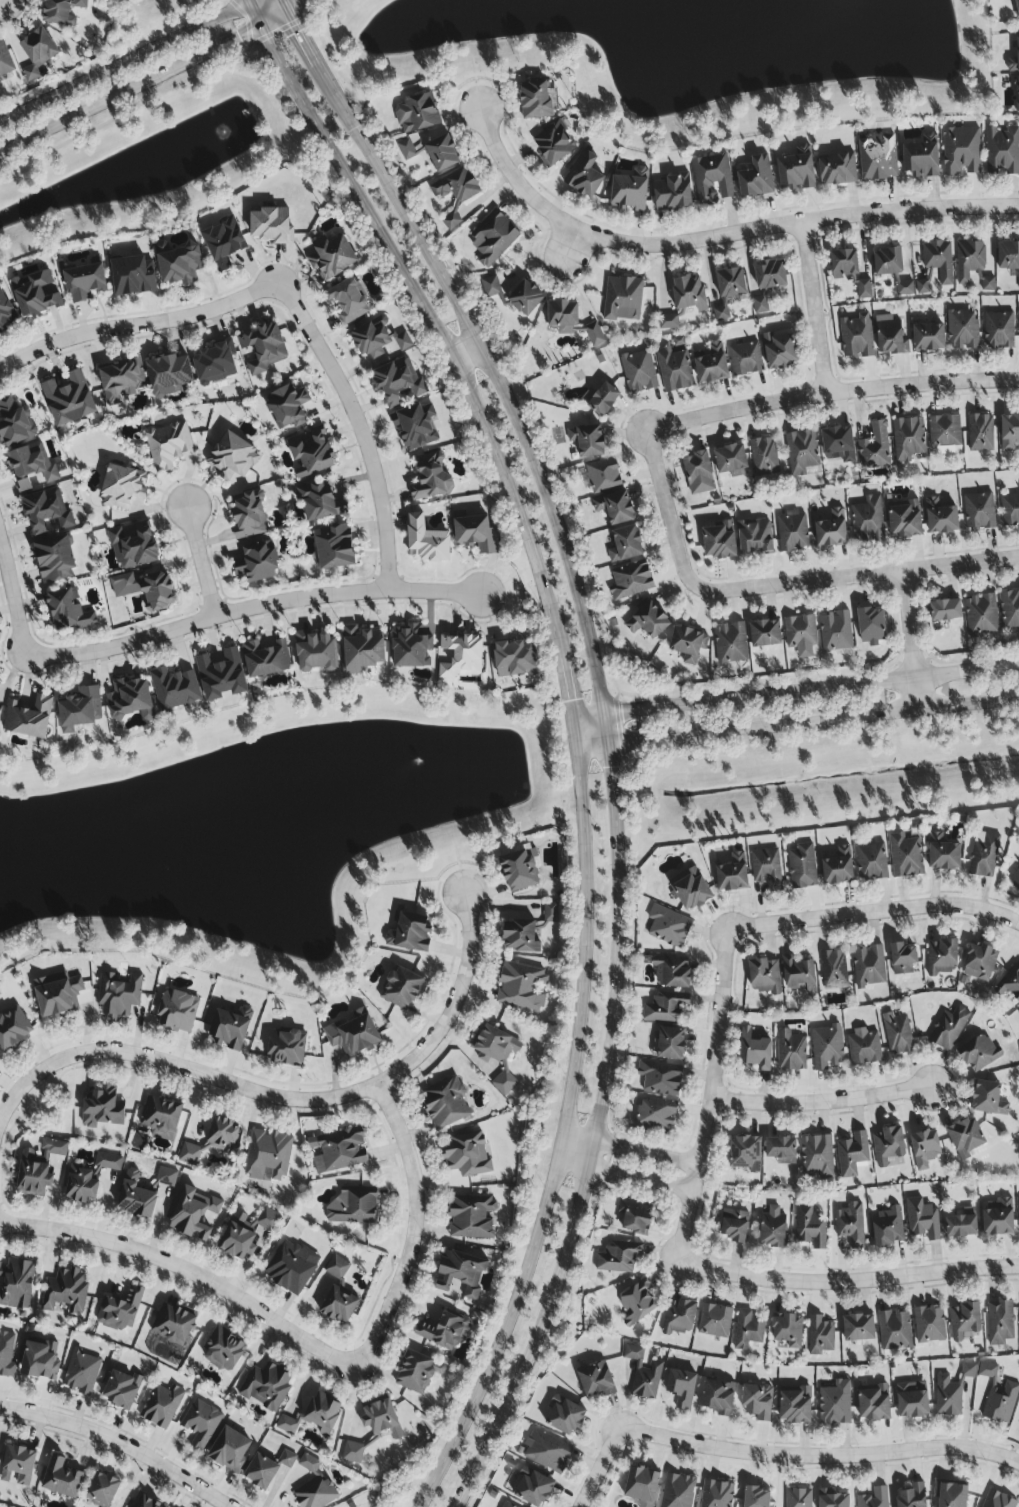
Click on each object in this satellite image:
road: (285, 0)
fountain: (720, 2)
building: (1012, 8)
building: (60, 10)
building: (37, 53)
road: (140, 58)
building: (1014, 60)
building: (5, 61)
road: (146, 81)
building: (0, 83)
building: (1017, 95)
building: (535, 100)
building: (417, 113)
fountain: (217, 135)
building: (554, 142)
building: (406, 150)
building: (961, 151)
building: (1002, 152)
building: (442, 154)
building: (877, 158)
building: (920, 160)
building: (837, 170)
building: (796, 172)
building: (585, 175)
building: (756, 178)
building: (712, 179)
building: (630, 191)
building: (673, 193)
building: (271, 225)
road: (718, 232)
building: (493, 238)
building: (227, 246)
road: (571, 246)
building: (1008, 256)
building: (331, 257)
building: (938, 260)
building: (969, 260)
building: (887, 261)
building: (843, 264)
building: (180, 266)
building: (771, 275)
building: (133, 276)
building: (86, 284)
building: (988, 285)
building: (922, 288)
building: (863, 289)
building: (904, 289)
building: (728, 290)
building: (689, 293)
building: (37, 295)
building: (514, 295)
building: (623, 299)
building: (347, 301)
building: (759, 305)
road: (817, 306)
building: (5, 313)
building: (562, 316)
building: (668, 323)
road: (138, 324)
building: (962, 331)
building: (998, 331)
building: (593, 335)
building: (1018, 335)
building: (856, 337)
building: (889, 337)
building: (371, 338)
building: (928, 338)
road: (476, 340)
building: (402, 341)
building: (262, 349)
building: (779, 349)
road: (465, 353)
building: (745, 359)
building: (215, 364)
building: (710, 364)
building: (674, 370)
building: (639, 372)
building: (169, 374)
building: (397, 382)
building: (125, 383)
road: (832, 395)
building: (69, 398)
building: (600, 399)
building: (290, 404)
building: (415, 426)
road: (360, 428)
building: (16, 429)
building: (944, 431)
building: (1009, 432)
building: (980, 433)
building: (907, 439)
building: (587, 441)
building: (838, 444)
building: (167, 445)
building: (875, 448)
building: (801, 452)
building: (309, 454)
building: (763, 456)
building: (233, 459)
building: (731, 460)
building: (32, 465)
building: (699, 473)
building: (603, 476)
building: (431, 478)
building: (124, 489)
building: (317, 502)
building: (614, 508)
road: (675, 510)
building: (1009, 510)
building: (47, 511)
building: (979, 512)
building: (248, 514)
building: (940, 518)
building: (867, 520)
building: (905, 521)
building: (831, 529)
building: (793, 532)
building: (475, 535)
building: (755, 537)
building: (425, 541)
building: (719, 542)
building: (133, 545)
building: (625, 545)
building: (334, 548)
building: (57, 558)
road: (204, 563)
building: (261, 563)
road: (860, 576)
road: (446, 580)
building: (631, 580)
road: (286, 588)
road: (15, 592)
building: (158, 592)
building: (68, 607)
road: (252, 609)
building: (945, 610)
building: (1009, 611)
building: (981, 615)
building: (648, 621)
building: (871, 626)
building: (835, 631)
building: (800, 632)
building: (765, 633)
road: (906, 638)
building: (730, 643)
building: (688, 644)
building: (410, 647)
building: (362, 649)
building: (314, 652)
building: (460, 656)
building: (265, 659)
building: (513, 660)
road: (809, 687)
building: (175, 689)
building: (131, 700)
building: (80, 710)
road: (585, 712)
building: (29, 718)
road: (796, 718)
road: (572, 732)
fountain: (439, 763)
building: (943, 853)
building: (983, 855)
building: (905, 857)
building: (871, 863)
building: (836, 866)
building: (802, 867)
building: (767, 868)
building: (520, 871)
building: (732, 874)
building: (1015, 882)
building: (690, 889)
road: (876, 912)
building: (550, 913)
building: (668, 927)
building: (409, 933)
building: (519, 937)
building: (942, 957)
building: (903, 959)
building: (980, 963)
building: (869, 967)
building: (833, 970)
building: (672, 973)
building: (798, 975)
building: (765, 977)
building: (1011, 983)
building: (402, 988)
building: (522, 988)
building: (119, 994)
building: (57, 996)
building: (666, 1008)
building: (177, 1011)
building: (1018, 1012)
building: (13, 1028)
building: (948, 1028)
building: (230, 1029)
building: (353, 1034)
building: (897, 1034)
building: (669, 1044)
building: (826, 1047)
building: (286, 1048)
building: (864, 1048)
building: (755, 1051)
building: (791, 1051)
building: (496, 1053)
building: (979, 1054)
building: (660, 1078)
road: (288, 1096)
road: (717, 1097)
building: (988, 1099)
building: (445, 1103)
road: (826, 1108)
building: (103, 1109)
building: (655, 1114)
building: (161, 1117)
road: (602, 1121)
building: (222, 1135)
building: (966, 1138)
building: (888, 1146)
road: (633, 1147)
building: (924, 1148)
building: (781, 1150)
building: (341, 1151)
building: (745, 1154)
building: (190, 1155)
building: (467, 1155)
building: (853, 1155)
building: (268, 1156)
building: (817, 1156)
building: (38, 1168)
road: (626, 1176)
building: (89, 1178)
building: (142, 1192)
building: (1018, 1205)
building: (353, 1206)
building: (193, 1214)
building: (471, 1217)
building: (634, 1218)
building: (998, 1218)
building: (922, 1219)
building: (961, 1224)
building: (850, 1225)
building: (734, 1226)
building: (810, 1227)
building: (887, 1227)
building: (772, 1229)
road: (418, 1231)
building: (245, 1233)
building: (618, 1258)
building: (291, 1267)
building: (337, 1267)
road: (190, 1270)
building: (461, 1273)
road: (848, 1286)
building: (65, 1291)
building: (636, 1303)
building: (339, 1305)
building: (120, 1310)
building: (678, 1317)
building: (714, 1321)
building: (964, 1321)
building: (1000, 1323)
building: (929, 1324)
building: (173, 1325)
building: (858, 1327)
building: (747, 1330)
building: (787, 1330)
building: (895, 1330)
building: (443, 1331)
building: (820, 1336)
building: (224, 1350)
building: (7, 1355)
building: (40, 1360)
building: (81, 1373)
building: (643, 1374)
building: (596, 1380)
building: (267, 1386)
building: (681, 1388)
building: (121, 1390)
building: (951, 1392)
building: (998, 1396)
building: (718, 1397)
building: (912, 1400)
building: (757, 1402)
building: (835, 1404)
building: (874, 1404)
building: (162, 1406)
building: (795, 1406)
building: (323, 1413)
building: (564, 1417)
building: (382, 1419)
building: (201, 1424)
building: (287, 1425)
road: (120, 1442)
building: (230, 1450)
building: (547, 1452)
building: (353, 1453)
building: (287, 1460)
road: (821, 1460)
building: (310, 1464)
building: (18, 1465)
road: (603, 1469)
building: (261, 1472)
building: (63, 1478)
building: (641, 1486)
building: (532, 1488)
building: (102, 1490)
building: (677, 1491)
building: (316, 1494)
building: (716, 1494)
building: (950, 1494)
building: (755, 1497)
building: (912, 1497)
building: (798, 1498)
building: (874, 1498)
building: (832, 1499)
building: (997, 1500)
building: (144, 1501)
building: (508, 1505)

